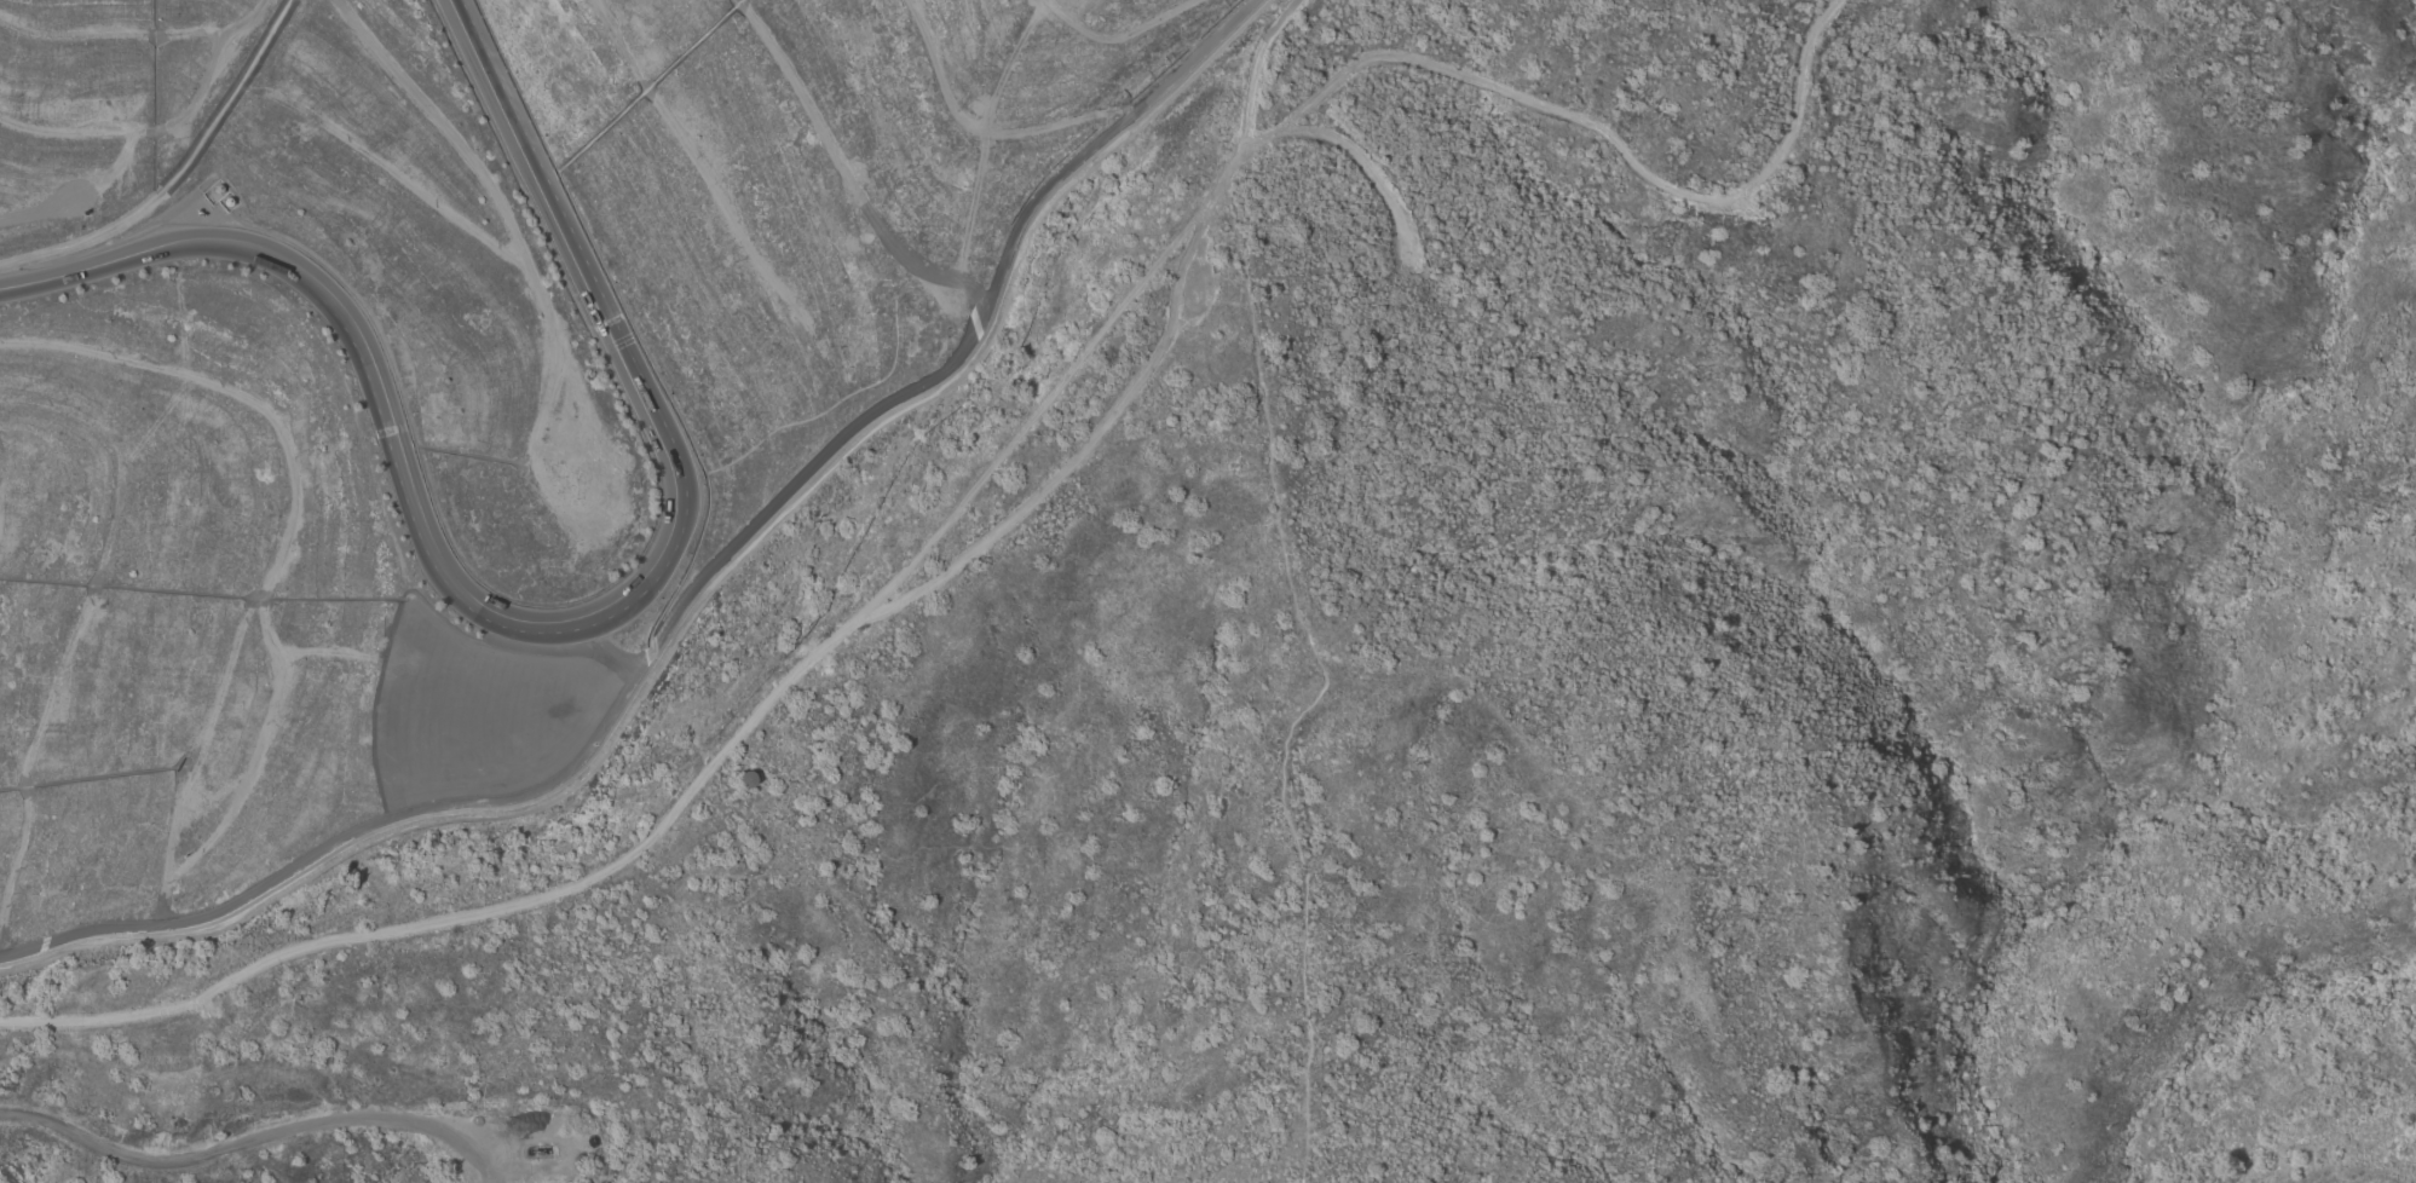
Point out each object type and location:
landfill: (457, 382)
landfill: (457, 382)
road: (688, 613)
road: (537, 624)
road: (775, 693)
road: (253, 1139)
petroleum well: (535, 1148)

